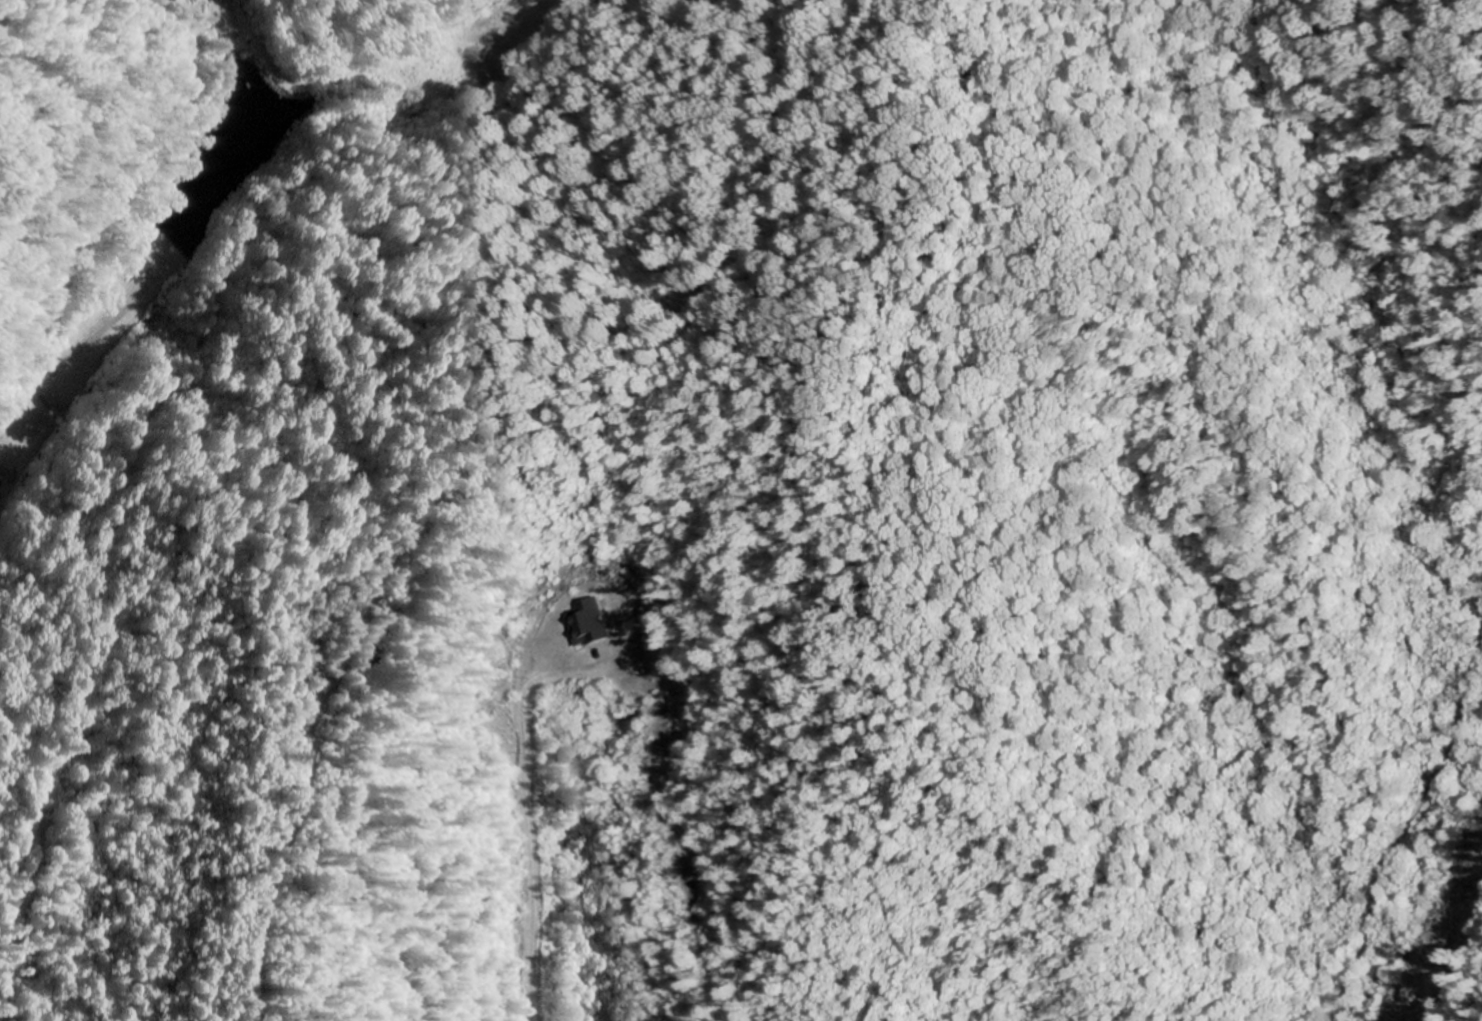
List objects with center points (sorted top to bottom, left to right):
building: (590, 624)
road: (531, 813)

